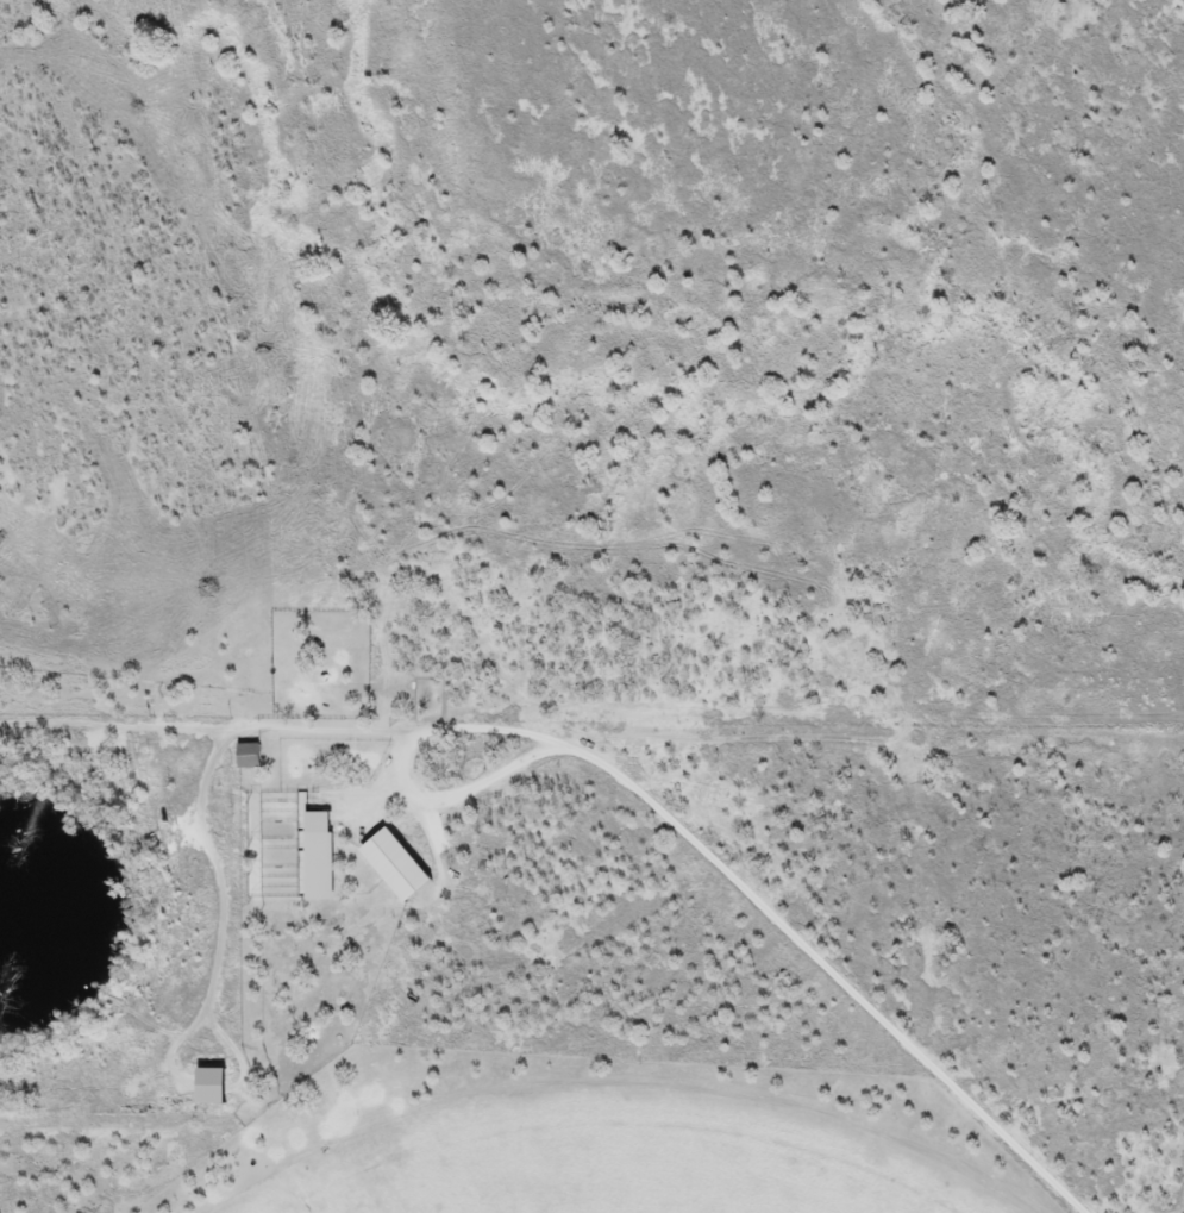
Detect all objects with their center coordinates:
road: (401, 774)
road: (822, 978)
building: (190, 1084)

